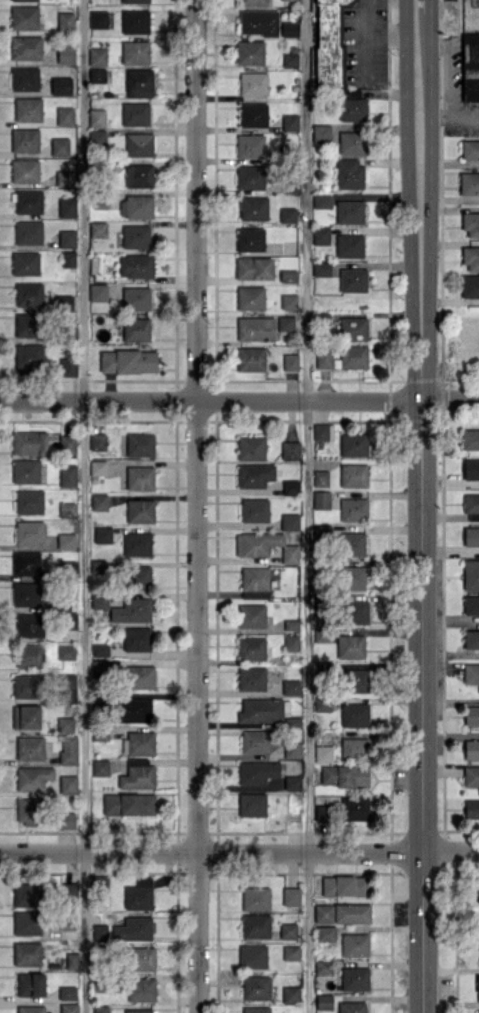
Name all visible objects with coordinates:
building: (24, 0)
building: (135, 1)
building: (254, 2)
road: (416, 5)
building: (24, 17)
building: (98, 19)
building: (65, 21)
building: (135, 21)
building: (258, 22)
building: (289, 28)
road: (380, 34)
building: (330, 41)
building: (26, 48)
building: (135, 52)
building: (250, 52)
building: (66, 54)
building: (97, 56)
building: (290, 59)
road: (446, 66)
building: (470, 67)
building: (97, 75)
building: (24, 78)
building: (139, 83)
building: (253, 83)
building: (61, 85)
building: (352, 105)
building: (28, 109)
building: (135, 113)
building: (253, 114)
building: (64, 115)
road: (448, 116)
building: (96, 117)
building: (290, 122)
building: (321, 133)
building: (96, 137)
building: (25, 140)
building: (352, 142)
building: (139, 144)
building: (250, 145)
building: (60, 146)
building: (470, 149)
building: (25, 171)
building: (349, 173)
building: (139, 175)
building: (250, 177)
building: (65, 178)
building: (469, 183)
building: (290, 188)
building: (28, 201)
building: (322, 201)
building: (136, 206)
building: (67, 207)
building: (253, 208)
building: (349, 211)
building: (287, 214)
building: (471, 223)
building: (98, 229)
building: (28, 232)
building: (321, 235)
building: (136, 236)
building: (67, 238)
building: (250, 239)
building: (349, 245)
building: (471, 258)
building: (68, 259)
building: (25, 263)
building: (135, 266)
building: (254, 268)
building: (321, 268)
building: (353, 280)
building: (470, 285)
building: (98, 292)
building: (28, 294)
building: (250, 297)
building: (136, 298)
building: (62, 301)
building: (289, 301)
building: (285, 323)
building: (26, 324)
building: (255, 328)
building: (353, 328)
building: (136, 329)
building: (28, 355)
building: (343, 357)
building: (250, 359)
building: (128, 361)
building: (291, 361)
building: (66, 366)
road: (239, 399)
building: (322, 431)
building: (470, 439)
building: (97, 441)
building: (29, 443)
building: (70, 444)
building: (140, 444)
building: (353, 444)
building: (251, 448)
building: (290, 450)
building: (98, 467)
building: (471, 469)
building: (26, 471)
building: (67, 475)
building: (255, 475)
building: (353, 475)
building: (140, 477)
building: (321, 478)
building: (290, 487)
building: (321, 499)
building: (29, 501)
building: (99, 502)
building: (471, 503)
road: (83, 506)
road: (196, 506)
road: (307, 506)
building: (67, 509)
building: (354, 509)
building: (255, 510)
building: (140, 511)
road: (420, 511)
building: (289, 521)
building: (322, 531)
building: (29, 532)
building: (103, 534)
building: (471, 536)
building: (66, 540)
building: (137, 544)
building: (352, 544)
building: (265, 546)
building: (26, 563)
building: (99, 566)
building: (471, 574)
building: (137, 577)
building: (353, 578)
building: (254, 582)
building: (26, 593)
building: (99, 601)
building: (471, 604)
building: (132, 611)
building: (356, 612)
building: (251, 615)
building: (69, 621)
building: (29, 624)
building: (291, 624)
building: (322, 634)
building: (136, 639)
building: (471, 639)
building: (291, 642)
building: (351, 646)
building: (251, 647)
building: (100, 650)
building: (66, 651)
building: (28, 655)
building: (471, 674)
building: (141, 677)
building: (251, 678)
building: (355, 680)
building: (26, 686)
building: (69, 686)
building: (291, 687)
building: (322, 704)
building: (134, 710)
building: (261, 710)
building: (354, 714)
building: (472, 715)
building: (26, 716)
building: (65, 723)
building: (257, 740)
building: (140, 743)
building: (30, 747)
building: (355, 747)
building: (471, 748)
building: (68, 749)
building: (292, 750)
building: (323, 753)
building: (100, 767)
building: (257, 771)
building: (137, 774)
building: (345, 775)
building: (471, 776)
building: (33, 777)
building: (292, 782)
building: (68, 784)
building: (128, 803)
building: (252, 804)
building: (471, 808)
building: (345, 810)
building: (27, 811)
building: (66, 820)
road: (239, 851)
building: (345, 885)
building: (477, 889)
building: (27, 894)
building: (139, 894)
building: (291, 896)
building: (255, 898)
building: (342, 913)
building: (26, 922)
building: (255, 925)
building: (133, 929)
building: (288, 930)
building: (100, 932)
building: (325, 933)
building: (355, 944)
building: (291, 952)
building: (27, 953)
building: (252, 956)
building: (141, 958)
building: (72, 960)
building: (323, 967)
building: (355, 979)
building: (30, 984)
building: (256, 987)
building: (478, 987)
building: (141, 989)
building: (67, 992)
building: (290, 994)
building: (324, 1002)
building: (352, 1007)
building: (68, 1008)
building: (31, 1009)
building: (100, 1009)
building: (256, 1009)
building: (139, 1011)
building: (478, 1011)

